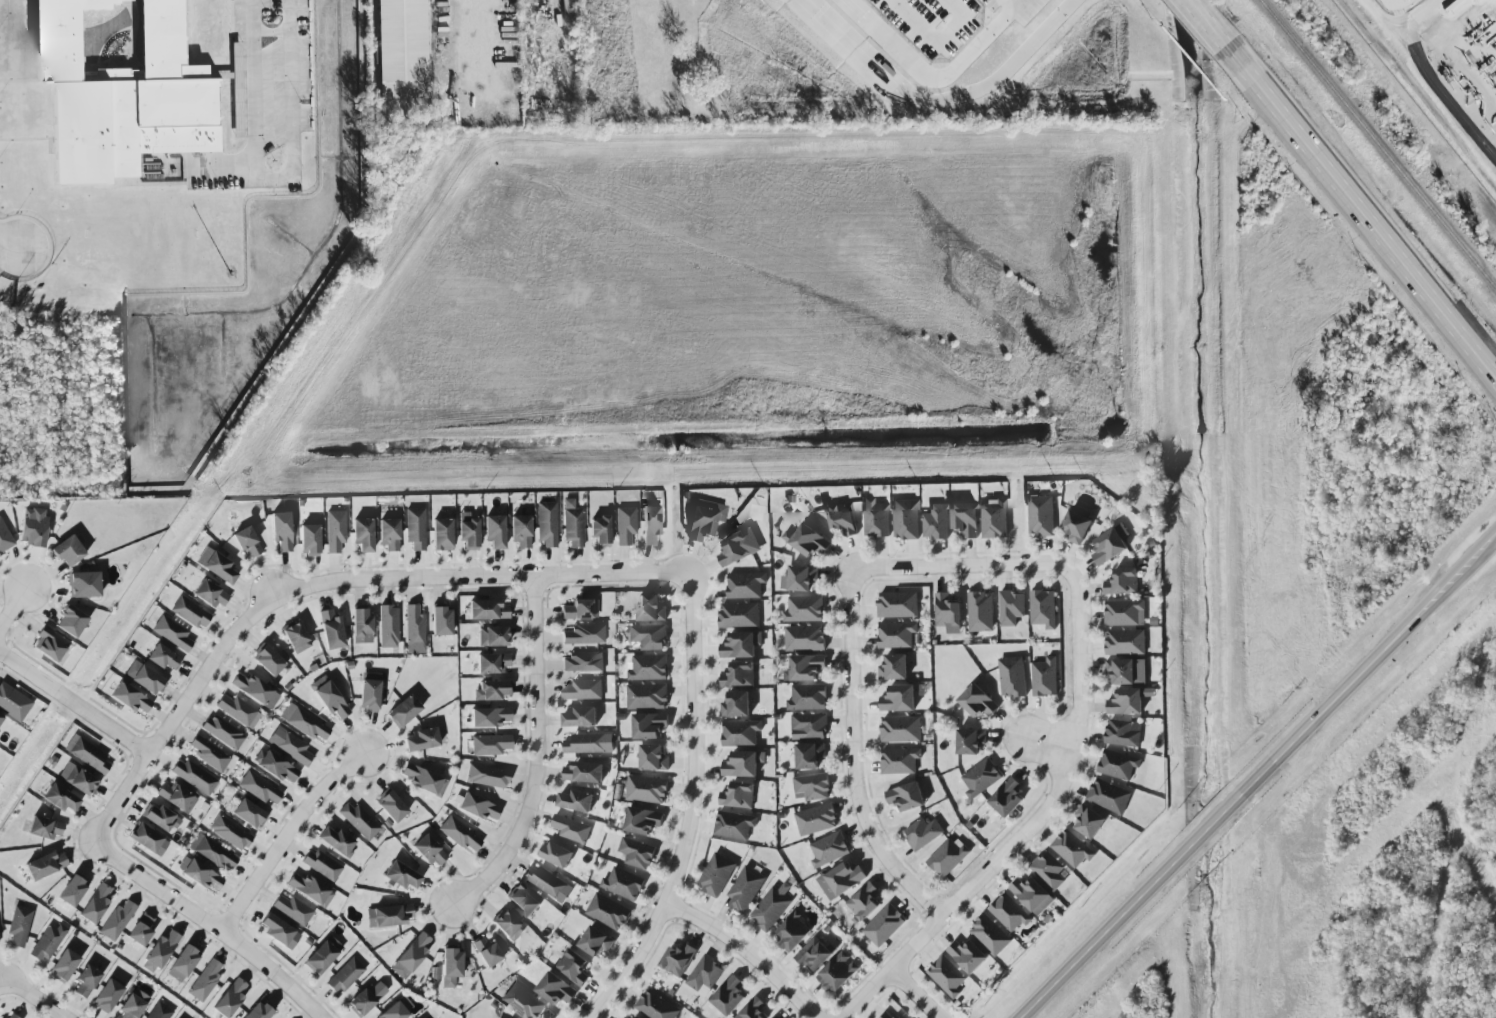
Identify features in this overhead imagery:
road: (1381, 12)
road: (1204, 23)
building: (403, 40)
road: (929, 44)
building: (238, 77)
road: (1430, 79)
road: (926, 80)
building: (125, 96)
road: (935, 106)
railway: (1377, 143)
road: (275, 175)
road: (1359, 210)
building: (1041, 515)
building: (842, 517)
building: (876, 517)
building: (994, 517)
building: (906, 518)
building: (965, 518)
building: (706, 519)
building: (936, 521)
building: (546, 524)
building: (571, 524)
building: (651, 524)
building: (624, 525)
building: (1076, 526)
building: (33, 527)
building: (414, 528)
building: (280, 530)
building: (335, 530)
building: (520, 530)
building: (599, 530)
building: (467, 531)
building: (494, 531)
building: (388, 534)
building: (441, 534)
building: (362, 535)
building: (5, 538)
building: (309, 539)
building: (806, 540)
building: (246, 541)
building: (1110, 544)
building: (734, 548)
building: (67, 551)
road: (963, 565)
building: (219, 568)
building: (802, 576)
road: (328, 581)
building: (1122, 581)
building: (745, 584)
building: (83, 585)
building: (209, 593)
building: (897, 604)
road: (12, 606)
building: (1011, 606)
building: (650, 608)
building: (804, 608)
building: (1043, 608)
building: (580, 609)
building: (487, 610)
building: (946, 610)
building: (980, 611)
building: (1124, 612)
building: (189, 613)
building: (739, 614)
building: (70, 621)
building: (441, 621)
building: (361, 625)
building: (388, 627)
building: (330, 629)
building: (414, 630)
building: (171, 633)
building: (896, 634)
building: (583, 635)
building: (492, 636)
building: (649, 636)
building: (295, 637)
building: (804, 637)
building: (1125, 641)
building: (741, 643)
building: (49, 644)
building: (162, 657)
building: (267, 660)
building: (582, 662)
building: (491, 663)
building: (893, 666)
building: (648, 667)
building: (804, 667)
road: (1370, 668)
building: (1126, 670)
building: (739, 674)
building: (1012, 676)
building: (1044, 676)
building: (147, 680)
building: (583, 689)
building: (254, 690)
building: (491, 690)
building: (368, 695)
building: (647, 695)
building: (807, 696)
building: (328, 697)
building: (130, 698)
building: (898, 698)
building: (1128, 700)
building: (977, 701)
building: (13, 702)
road: (75, 704)
building: (736, 704)
building: (236, 709)
building: (403, 710)
building: (580, 716)
building: (0, 717)
building: (489, 717)
building: (303, 722)
building: (649, 724)
building: (809, 725)
building: (900, 728)
building: (740, 731)
building: (222, 732)
building: (1123, 732)
building: (421, 739)
building: (970, 740)
building: (589, 742)
building: (490, 744)
road: (1041, 745)
building: (289, 746)
building: (208, 753)
building: (86, 754)
road: (538, 754)
building: (809, 754)
building: (653, 757)
road: (855, 757)
building: (899, 760)
building: (743, 762)
building: (1118, 764)
building: (274, 765)
building: (584, 771)
building: (192, 776)
building: (487, 776)
building: (980, 777)
building: (77, 779)
building: (423, 780)
building: (811, 786)
building: (259, 788)
building: (647, 788)
building: (738, 794)
building: (905, 795)
building: (1109, 795)
building: (176, 797)
building: (1007, 797)
building: (60, 798)
building: (576, 800)
building: (391, 807)
building: (477, 807)
road: (690, 807)
building: (249, 813)
building: (159, 817)
building: (816, 818)
building: (358, 820)
building: (642, 820)
building: (1088, 820)
building: (733, 824)
road: (1026, 826)
building: (44, 828)
building: (571, 828)
road: (1211, 829)
building: (229, 832)
building: (922, 832)
building: (458, 834)
road: (284, 839)
building: (148, 840)
building: (336, 841)
building: (1072, 848)
building: (829, 849)
building: (429, 850)
building: (637, 852)
building: (213, 853)
building: (556, 853)
building: (948, 856)
building: (44, 865)
building: (322, 865)
building: (1049, 869)
building: (198, 873)
building: (716, 874)
building: (401, 876)
building: (844, 877)
building: (548, 882)
building: (623, 883)
building: (745, 888)
building: (308, 889)
building: (71, 891)
building: (1032, 894)
building: (523, 899)
building: (863, 900)
building: (95, 904)
building: (771, 906)
building: (292, 909)
building: (608, 910)
building: (1009, 912)
building: (389, 915)
building: (116, 920)
road: (211, 925)
building: (507, 925)
building: (884, 925)
building: (19, 926)
building: (140, 929)
building: (276, 929)
building: (793, 931)
building: (990, 934)
building: (595, 940)
road: (1101, 940)
building: (46, 943)
road: (748, 950)
building: (159, 952)
building: (486, 952)
building: (413, 953)
building: (813, 954)
building: (968, 954)
building: (320, 958)
building: (678, 958)
building: (182, 963)
building: (63, 965)
building: (450, 966)
building: (573, 966)
building: (838, 971)
building: (705, 972)
building: (344, 975)
building: (947, 975)
road: (1, 980)
building: (86, 981)
building: (204, 981)
building: (555, 988)
road: (918, 992)
building: (108, 995)
building: (729, 995)
road: (34, 998)
building: (229, 998)
building: (365, 998)
building: (522, 1000)
building: (132, 1004)
building: (656, 1005)
building: (396, 1009)
building: (752, 1009)
building: (158, 1011)
building: (259, 1011)
building: (889, 1014)
building: (11, 1016)
building: (637, 1017)
building: (777, 1017)

